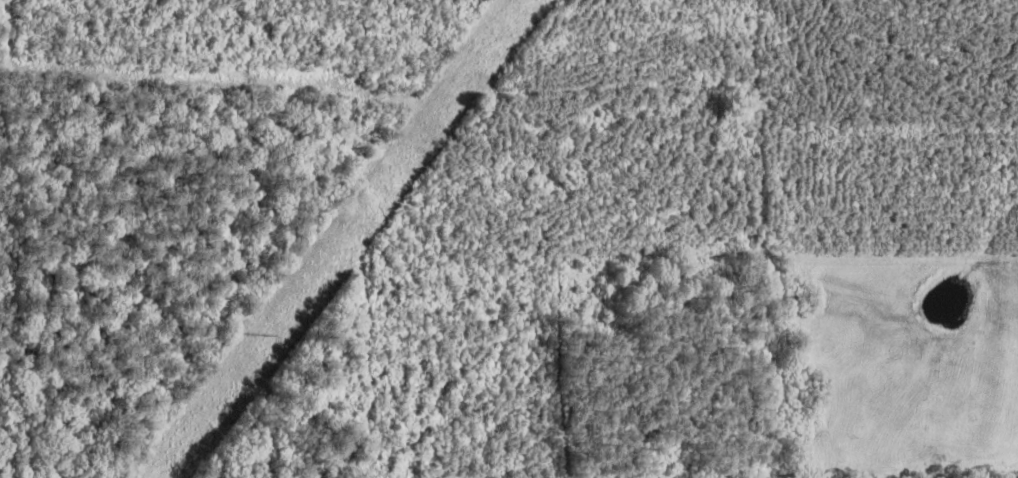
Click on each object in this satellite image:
road: (777, 290)

